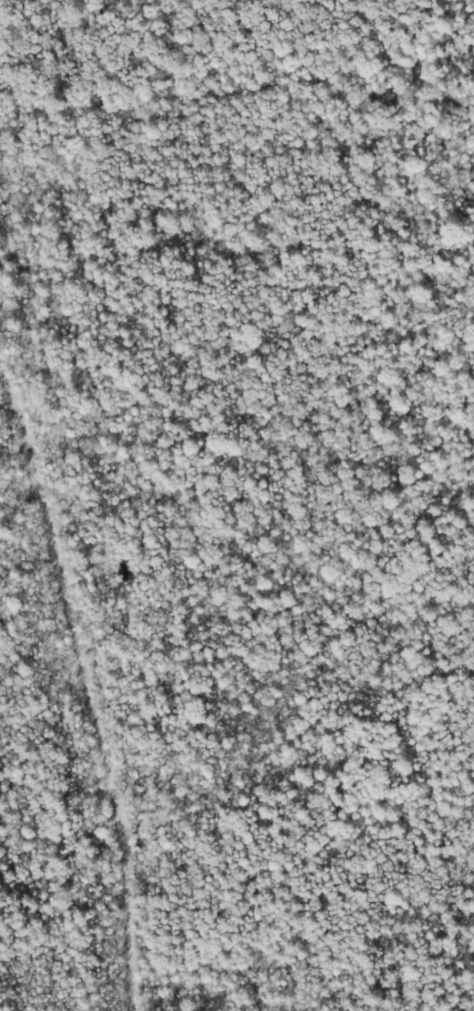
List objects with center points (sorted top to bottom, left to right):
road: (89, 676)

